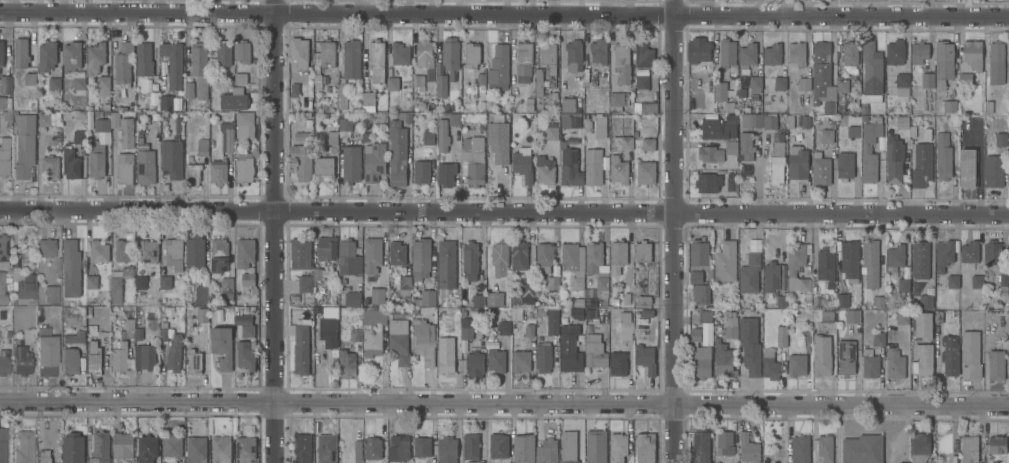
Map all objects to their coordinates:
road: (504, 16)
building: (697, 49)
building: (242, 51)
building: (598, 51)
building: (894, 51)
building: (20, 52)
building: (423, 52)
building: (726, 52)
building: (919, 52)
building: (1, 53)
building: (224, 53)
building: (299, 53)
building: (327, 53)
building: (400, 53)
building: (450, 53)
building: (573, 53)
building: (797, 53)
building: (972, 53)
building: (471, 54)
building: (771, 54)
building: (849, 54)
building: (643, 55)
building: (747, 55)
building: (47, 56)
building: (95, 58)
building: (143, 59)
building: (351, 59)
building: (376, 60)
building: (549, 60)
building: (523, 62)
building: (622, 62)
building: (996, 62)
building: (123, 63)
building: (173, 63)
building: (943, 63)
building: (499, 64)
building: (74, 67)
building: (199, 68)
building: (821, 73)
building: (871, 74)
building: (240, 78)
building: (317, 78)
building: (964, 78)
building: (30, 79)
building: (480, 79)
building: (927, 80)
building: (418, 81)
building: (103, 82)
building: (538, 82)
building: (641, 82)
building: (780, 82)
building: (54, 83)
building: (105, 83)
building: (392, 83)
building: (804, 83)
building: (902, 83)
building: (755, 84)
building: (842, 84)
building: (5, 85)
building: (441, 85)
building: (294, 89)
building: (188, 90)
building: (342, 90)
building: (719, 91)
building: (553, 96)
building: (368, 98)
building: (615, 98)
building: (234, 99)
building: (840, 100)
building: (2, 102)
building: (165, 102)
building: (572, 102)
building: (8, 103)
building: (342, 103)
building: (178, 104)
building: (304, 105)
building: (528, 105)
building: (949, 105)
building: (78, 106)
building: (829, 106)
building: (647, 107)
building: (988, 107)
building: (1008, 107)
building: (105, 113)
building: (81, 115)
building: (98, 115)
building: (139, 115)
building: (155, 116)
building: (408, 118)
building: (864, 118)
building: (44, 119)
building: (114, 119)
building: (453, 119)
building: (751, 119)
building: (846, 119)
building: (570, 120)
building: (768, 121)
building: (805, 121)
building: (902, 121)
building: (976, 122)
building: (308, 123)
building: (243, 124)
building: (345, 124)
building: (89, 126)
building: (600, 126)
building: (126, 127)
building: (718, 127)
building: (102, 130)
building: (552, 131)
building: (851, 132)
building: (227, 135)
building: (442, 135)
building: (826, 135)
building: (79, 136)
building: (300, 136)
building: (332, 136)
building: (428, 137)
building: (364, 138)
building: (1000, 139)
building: (498, 141)
building: (622, 142)
building: (647, 143)
building: (24, 144)
building: (745, 145)
building: (202, 146)
building: (731, 148)
building: (869, 150)
building: (397, 152)
building: (710, 153)
building: (3, 156)
building: (943, 156)
building: (172, 157)
building: (189, 157)
building: (96, 159)
building: (472, 159)
building: (894, 159)
building: (302, 161)
building: (373, 161)
building: (351, 163)
building: (522, 163)
building: (776, 163)
building: (796, 163)
building: (70, 164)
building: (921, 164)
building: (844, 165)
building: (50, 166)
building: (145, 166)
building: (569, 166)
building: (593, 167)
building: (967, 167)
building: (323, 169)
building: (618, 169)
building: (747, 169)
building: (820, 169)
building: (244, 170)
building: (545, 170)
building: (994, 170)
building: (218, 171)
building: (421, 171)
building: (124, 173)
building: (192, 173)
building: (445, 173)
building: (646, 173)
building: (706, 182)
building: (730, 183)
road: (504, 213)
road: (274, 231)
road: (674, 231)
building: (3, 246)
building: (327, 248)
building: (47, 249)
building: (123, 250)
building: (98, 251)
building: (148, 251)
building: (194, 251)
building: (642, 251)
building: (992, 251)
building: (174, 252)
building: (244, 252)
building: (396, 252)
building: (618, 252)
building: (698, 252)
building: (969, 252)
building: (300, 253)
building: (544, 253)
building: (218, 254)
building: (372, 254)
building: (943, 254)
building: (519, 255)
building: (346, 256)
building: (469, 256)
building: (572, 256)
building: (895, 256)
building: (420, 257)
building: (499, 258)
building: (593, 258)
building: (796, 258)
building: (920, 259)
building: (849, 260)
building: (725, 261)
building: (825, 263)
building: (870, 263)
building: (446, 266)
building: (70, 268)
building: (749, 273)
building: (771, 276)
building: (694, 277)
building: (247, 279)
building: (952, 281)
building: (977, 281)
building: (91, 282)
building: (140, 282)
building: (165, 282)
building: (552, 282)
building: (118, 283)
building: (305, 283)
building: (577, 283)
building: (602, 283)
building: (804, 284)
building: (903, 284)
building: (1003, 284)
building: (401, 285)
building: (25, 286)
building: (226, 287)
building: (2, 289)
building: (527, 289)
building: (700, 293)
building: (51, 294)
building: (375, 294)
building: (201, 295)
building: (428, 297)
building: (1008, 298)
building: (352, 299)
building: (493, 299)
building: (476, 300)
building: (643, 300)
building: (842, 300)
building: (925, 300)
building: (415, 301)
building: (614, 301)
building: (781, 301)
building: (877, 301)
building: (578, 302)
building: (317, 309)
building: (38, 312)
building: (58, 312)
building: (577, 313)
building: (646, 313)
building: (202, 314)
building: (514, 314)
building: (588, 315)
building: (704, 315)
building: (827, 316)
building: (852, 316)
building: (938, 317)
building: (29, 318)
building: (129, 324)
building: (921, 326)
building: (503, 327)
building: (466, 328)
building: (552, 328)
building: (328, 329)
building: (247, 330)
building: (529, 330)
building: (373, 331)
building: (731, 332)
building: (8, 333)
building: (138, 333)
building: (163, 334)
building: (695, 334)
building: (355, 335)
building: (781, 336)
building: (75, 337)
building: (807, 337)
building: (878, 338)
building: (398, 339)
building: (424, 341)
building: (221, 345)
building: (569, 345)
building: (750, 345)
building: (301, 349)
building: (594, 351)
building: (174, 353)
building: (246, 354)
building: (970, 354)
building: (46, 355)
building: (821, 355)
building: (949, 355)
building: (93, 356)
building: (120, 357)
building: (147, 357)
building: (543, 357)
building: (846, 357)
building: (645, 358)
building: (445, 359)
building: (496, 359)
building: (723, 359)
building: (21, 360)
building: (70, 360)
building: (3, 361)
building: (521, 361)
building: (701, 361)
building: (194, 362)
building: (346, 363)
building: (618, 363)
building: (769, 363)
building: (869, 363)
building: (894, 363)
building: (925, 363)
building: (474, 364)
building: (796, 364)
building: (995, 364)
building: (1008, 364)
road: (504, 405)
building: (724, 443)
building: (3, 444)
building: (122, 444)
building: (302, 444)
building: (920, 444)
building: (171, 445)
building: (498, 445)
building: (701, 445)
building: (995, 445)
building: (422, 446)
building: (470, 446)
building: (568, 446)
building: (596, 446)
building: (618, 446)
building: (24, 447)
building: (372, 447)
building: (398, 447)
building: (645, 447)
building: (823, 447)
building: (73, 448)
building: (100, 448)
building: (146, 448)
building: (523, 448)
building: (871, 448)
building: (196, 449)
building: (220, 449)
building: (245, 449)
building: (326, 449)
building: (447, 449)
building: (748, 449)
building: (800, 449)
building: (969, 449)
building: (357, 450)
building: (851, 450)
building: (546, 451)
building: (44, 456)
building: (475, 462)
building: (904, 462)

